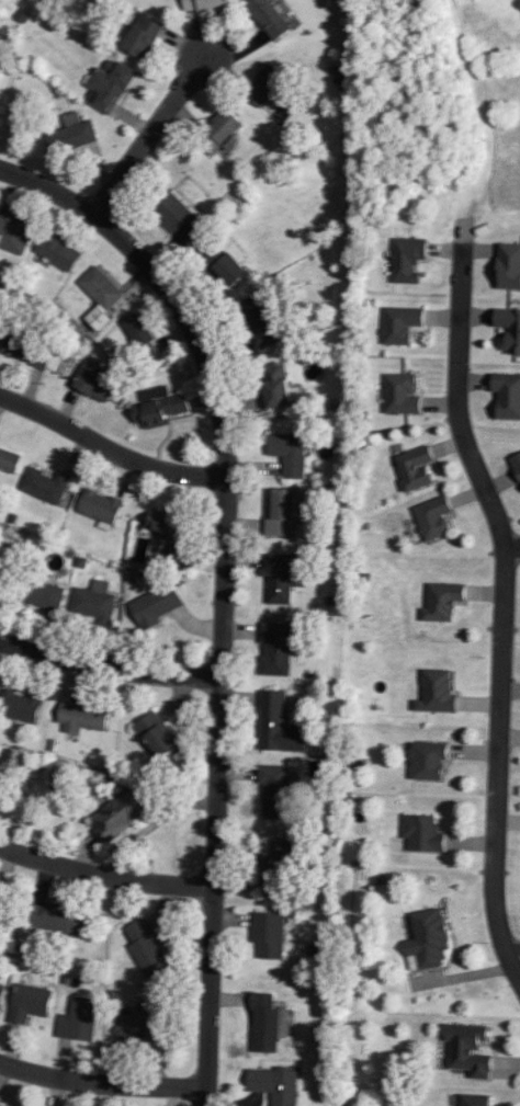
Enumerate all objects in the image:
building: (204, 4)
building: (268, 19)
building: (139, 36)
building: (262, 85)
building: (110, 88)
building: (78, 132)
building: (217, 132)
road: (147, 139)
building: (177, 217)
building: (13, 232)
building: (56, 252)
building: (225, 261)
building: (406, 261)
building: (508, 266)
building: (100, 288)
building: (95, 319)
building: (258, 321)
building: (398, 324)
building: (508, 329)
building: (138, 338)
building: (25, 350)
building: (93, 383)
building: (273, 387)
building: (400, 395)
building: (506, 396)
building: (157, 408)
road: (111, 449)
building: (285, 452)
building: (8, 463)
building: (414, 467)
building: (518, 476)
building: (44, 486)
building: (97, 508)
building: (282, 512)
building: (431, 518)
building: (163, 526)
road: (512, 550)
building: (2, 575)
building: (276, 580)
road: (226, 584)
building: (37, 595)
building: (441, 602)
building: (92, 603)
building: (157, 604)
road: (504, 607)
building: (274, 650)
road: (110, 668)
building: (18, 707)
building: (80, 719)
building: (276, 726)
building: (154, 738)
building: (427, 762)
building: (2, 795)
building: (273, 797)
building: (117, 816)
building: (421, 833)
building: (274, 868)
road: (105, 875)
building: (54, 920)
building: (265, 936)
building: (427, 940)
building: (145, 947)
road: (516, 961)
building: (1, 991)
building: (27, 1003)
building: (77, 1021)
building: (137, 1022)
building: (263, 1024)
building: (468, 1050)
road: (102, 1083)
building: (272, 1084)
building: (473, 1101)

